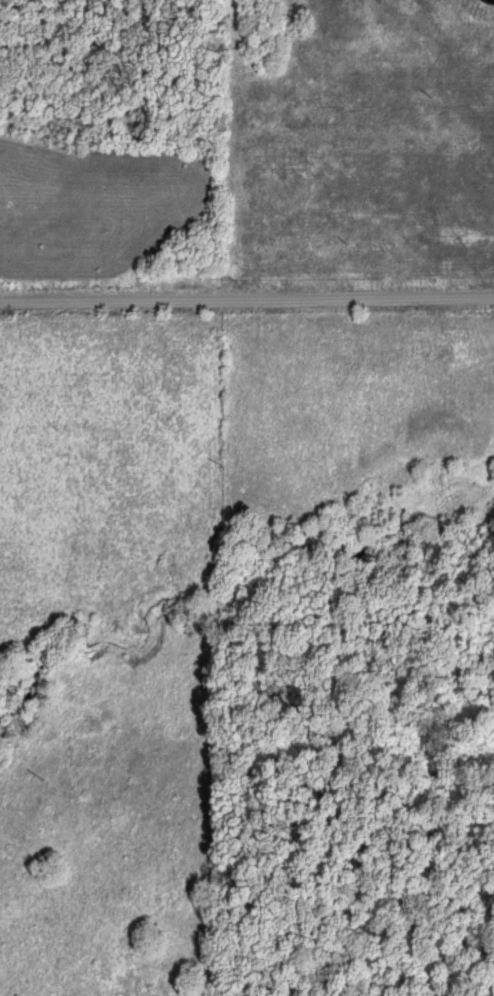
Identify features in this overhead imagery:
road: (247, 296)

